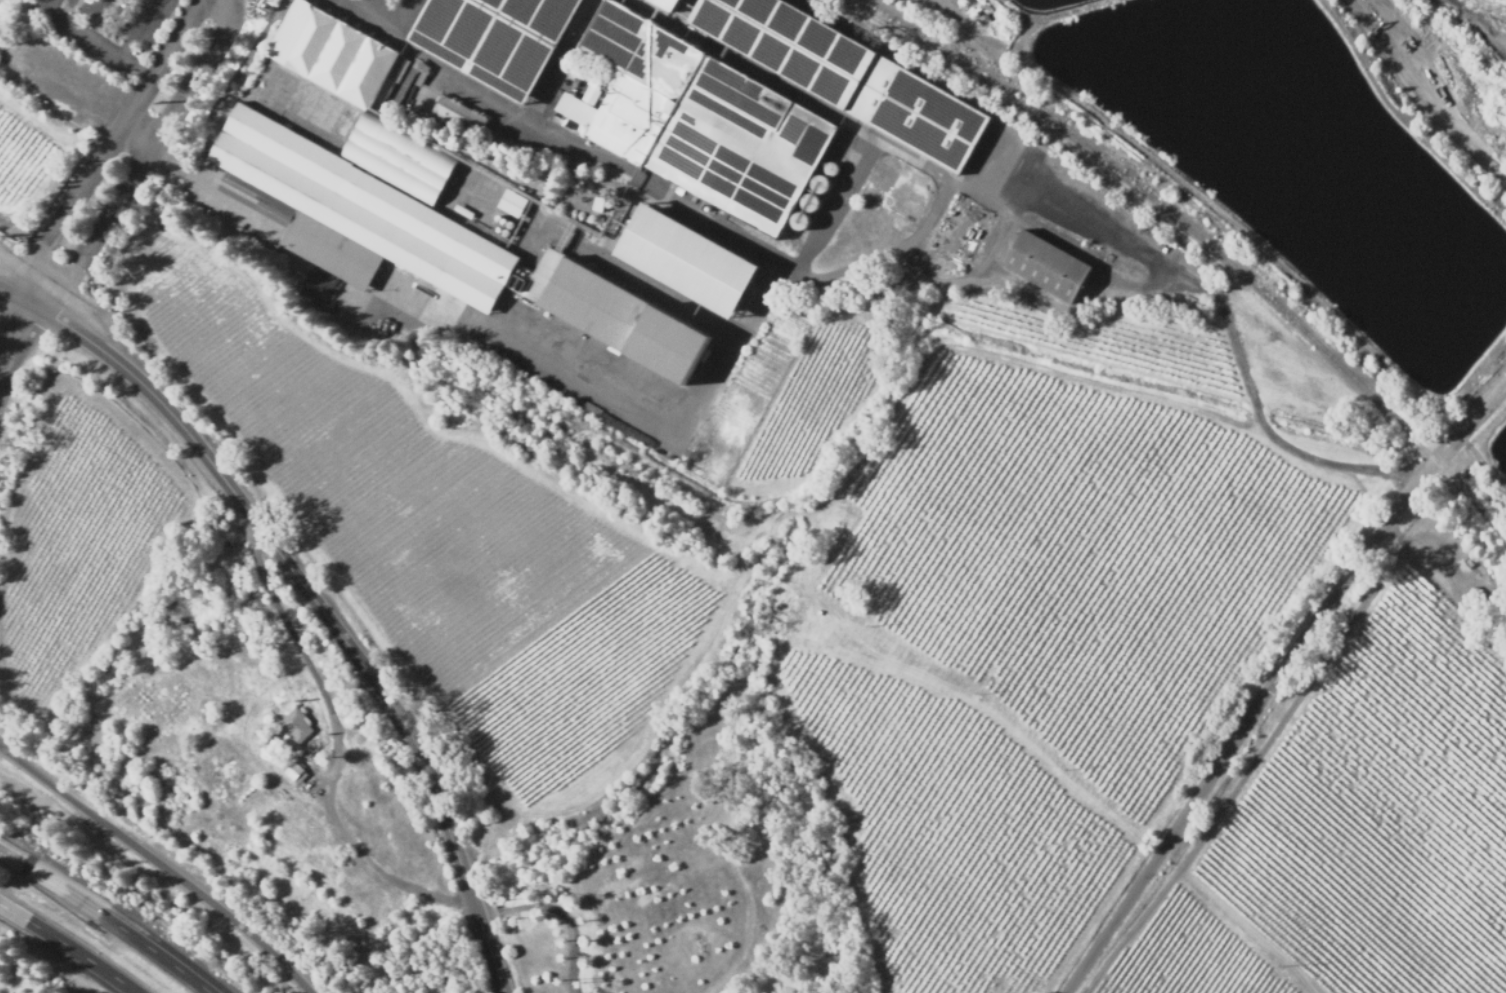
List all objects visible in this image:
building: (671, 4)
building: (334, 53)
road: (1421, 96)
building: (460, 116)
road: (104, 148)
road: (142, 161)
building: (422, 175)
building: (514, 203)
road: (1070, 225)
railway: (1206, 243)
building: (698, 262)
building: (1052, 267)
road: (15, 341)
road: (313, 599)
road: (1280, 682)
building: (286, 728)
road: (338, 749)
building: (233, 772)
building: (288, 775)
building: (285, 827)
road: (524, 840)
building: (315, 854)
road: (7, 857)
road: (160, 860)
road: (5, 905)
road: (116, 922)
road: (75, 949)

